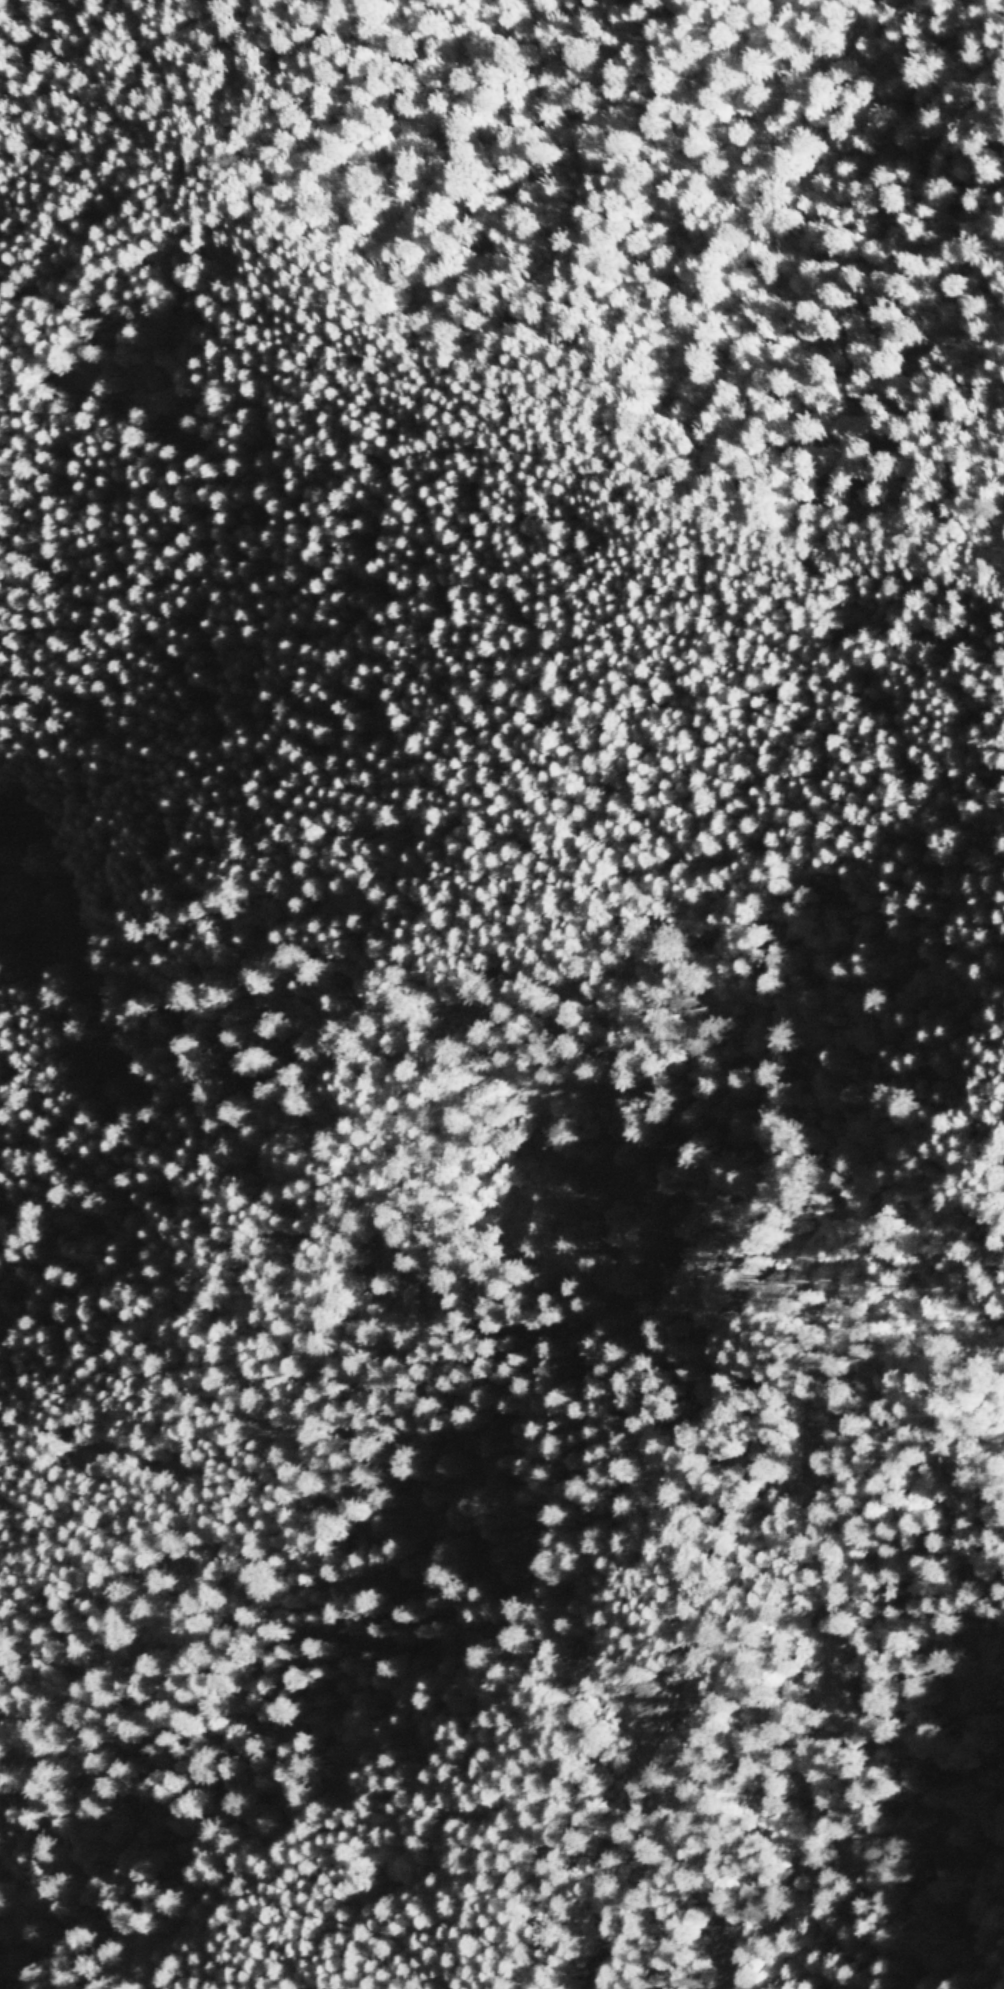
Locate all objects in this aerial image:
road: (695, 168)

